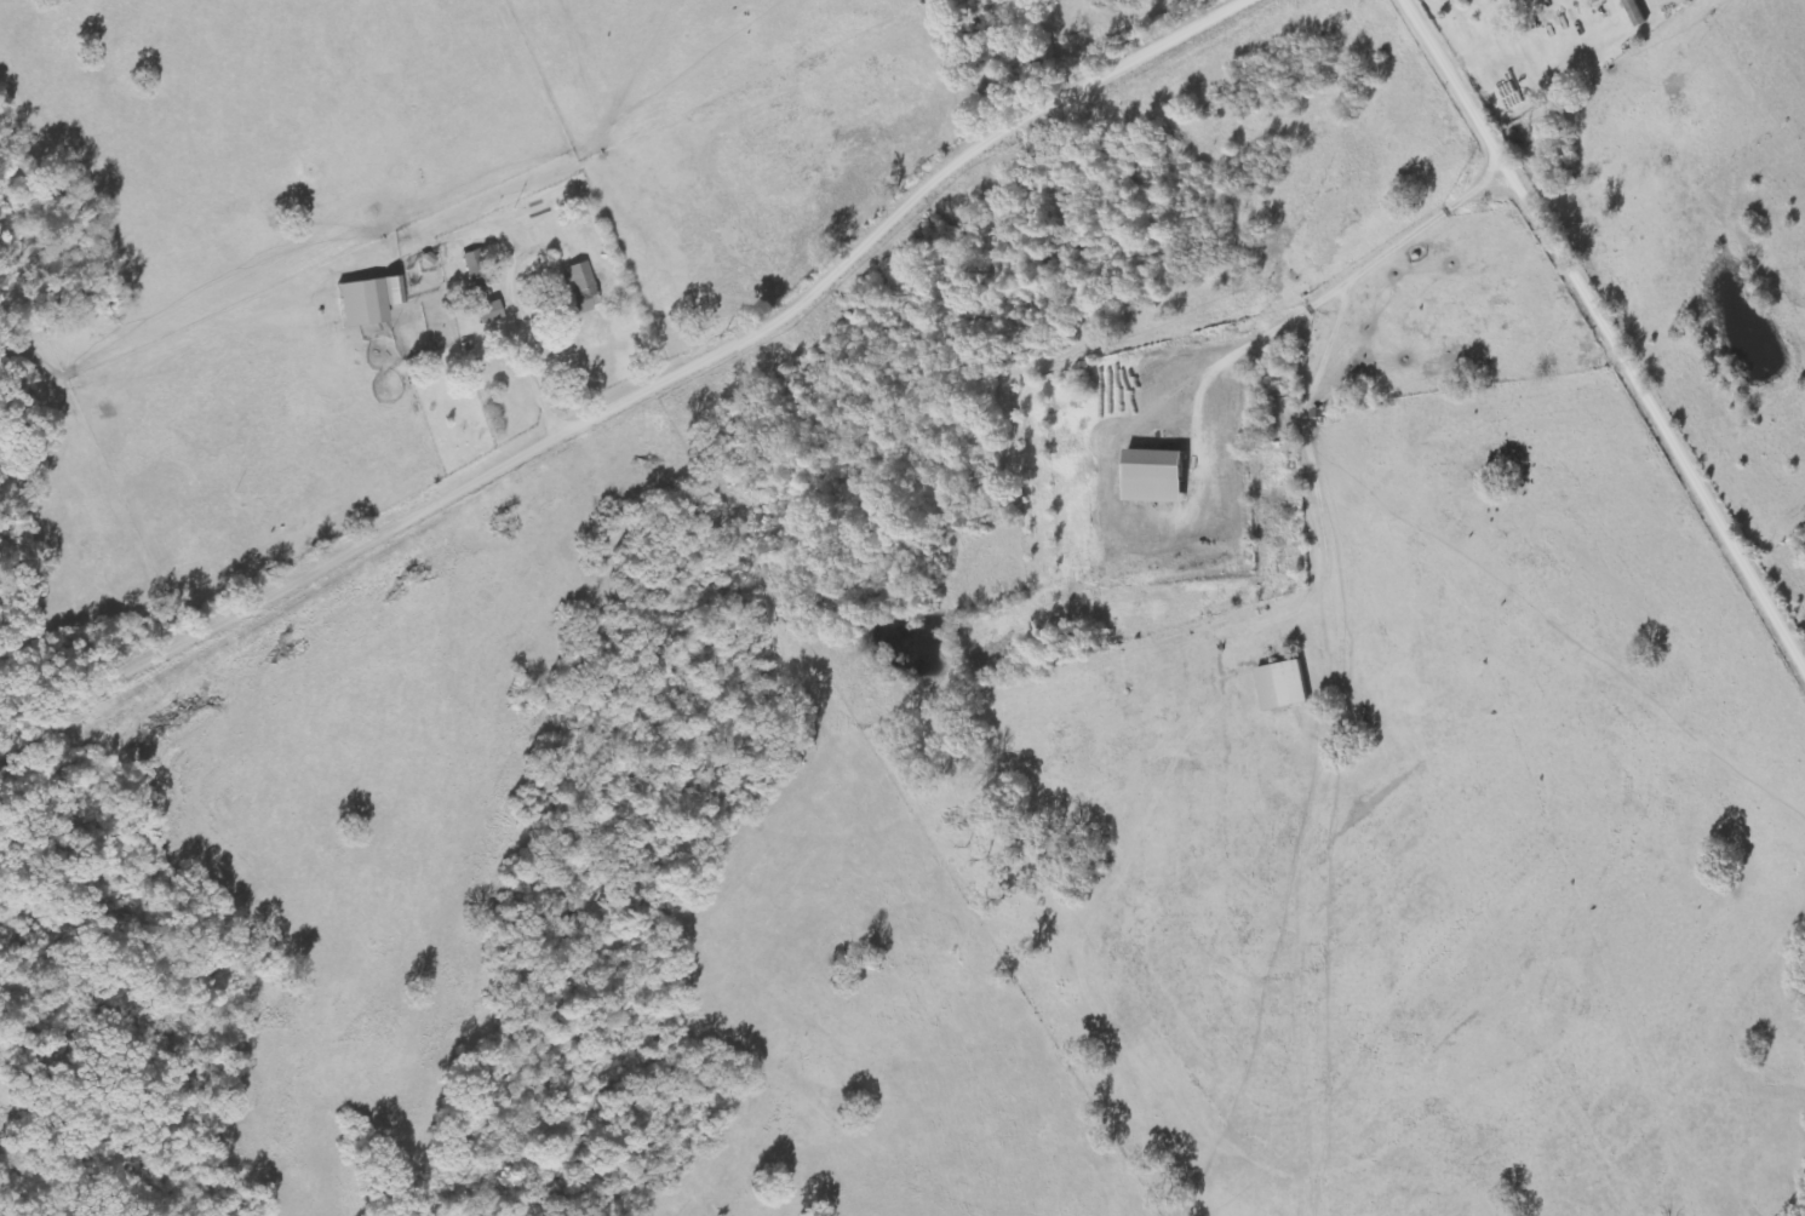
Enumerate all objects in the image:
building: (1635, 12)
building: (477, 270)
building: (578, 291)
building: (368, 300)
building: (487, 312)
road: (1600, 338)
road: (632, 397)
building: (1153, 476)
building: (1283, 686)

